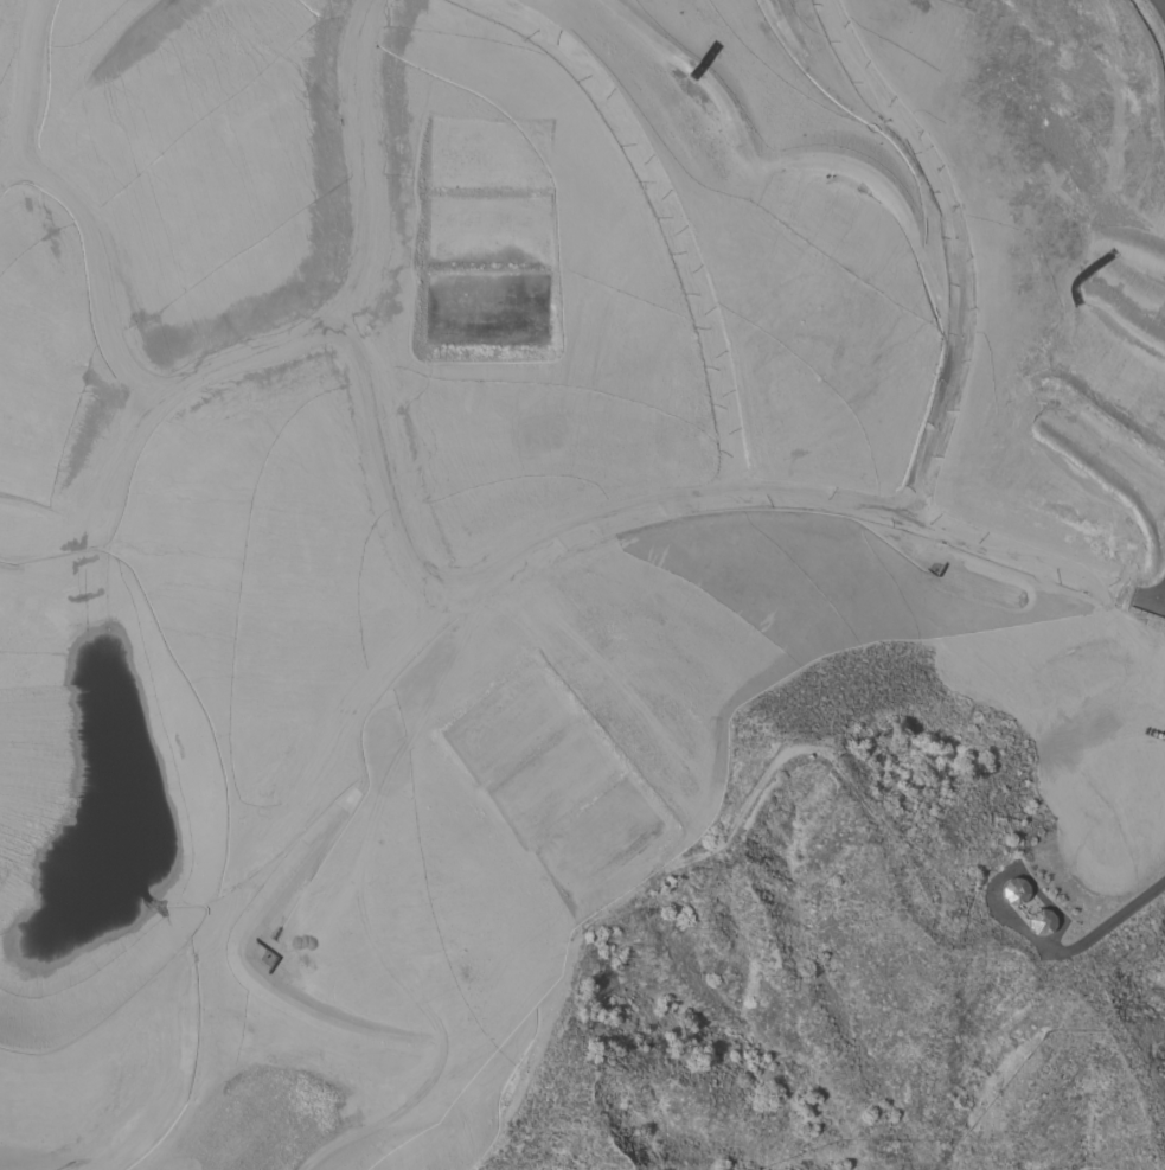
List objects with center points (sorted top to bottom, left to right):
road: (1161, 5)
park: (583, 405)
building: (1013, 890)
building: (1039, 922)
road: (1055, 952)

